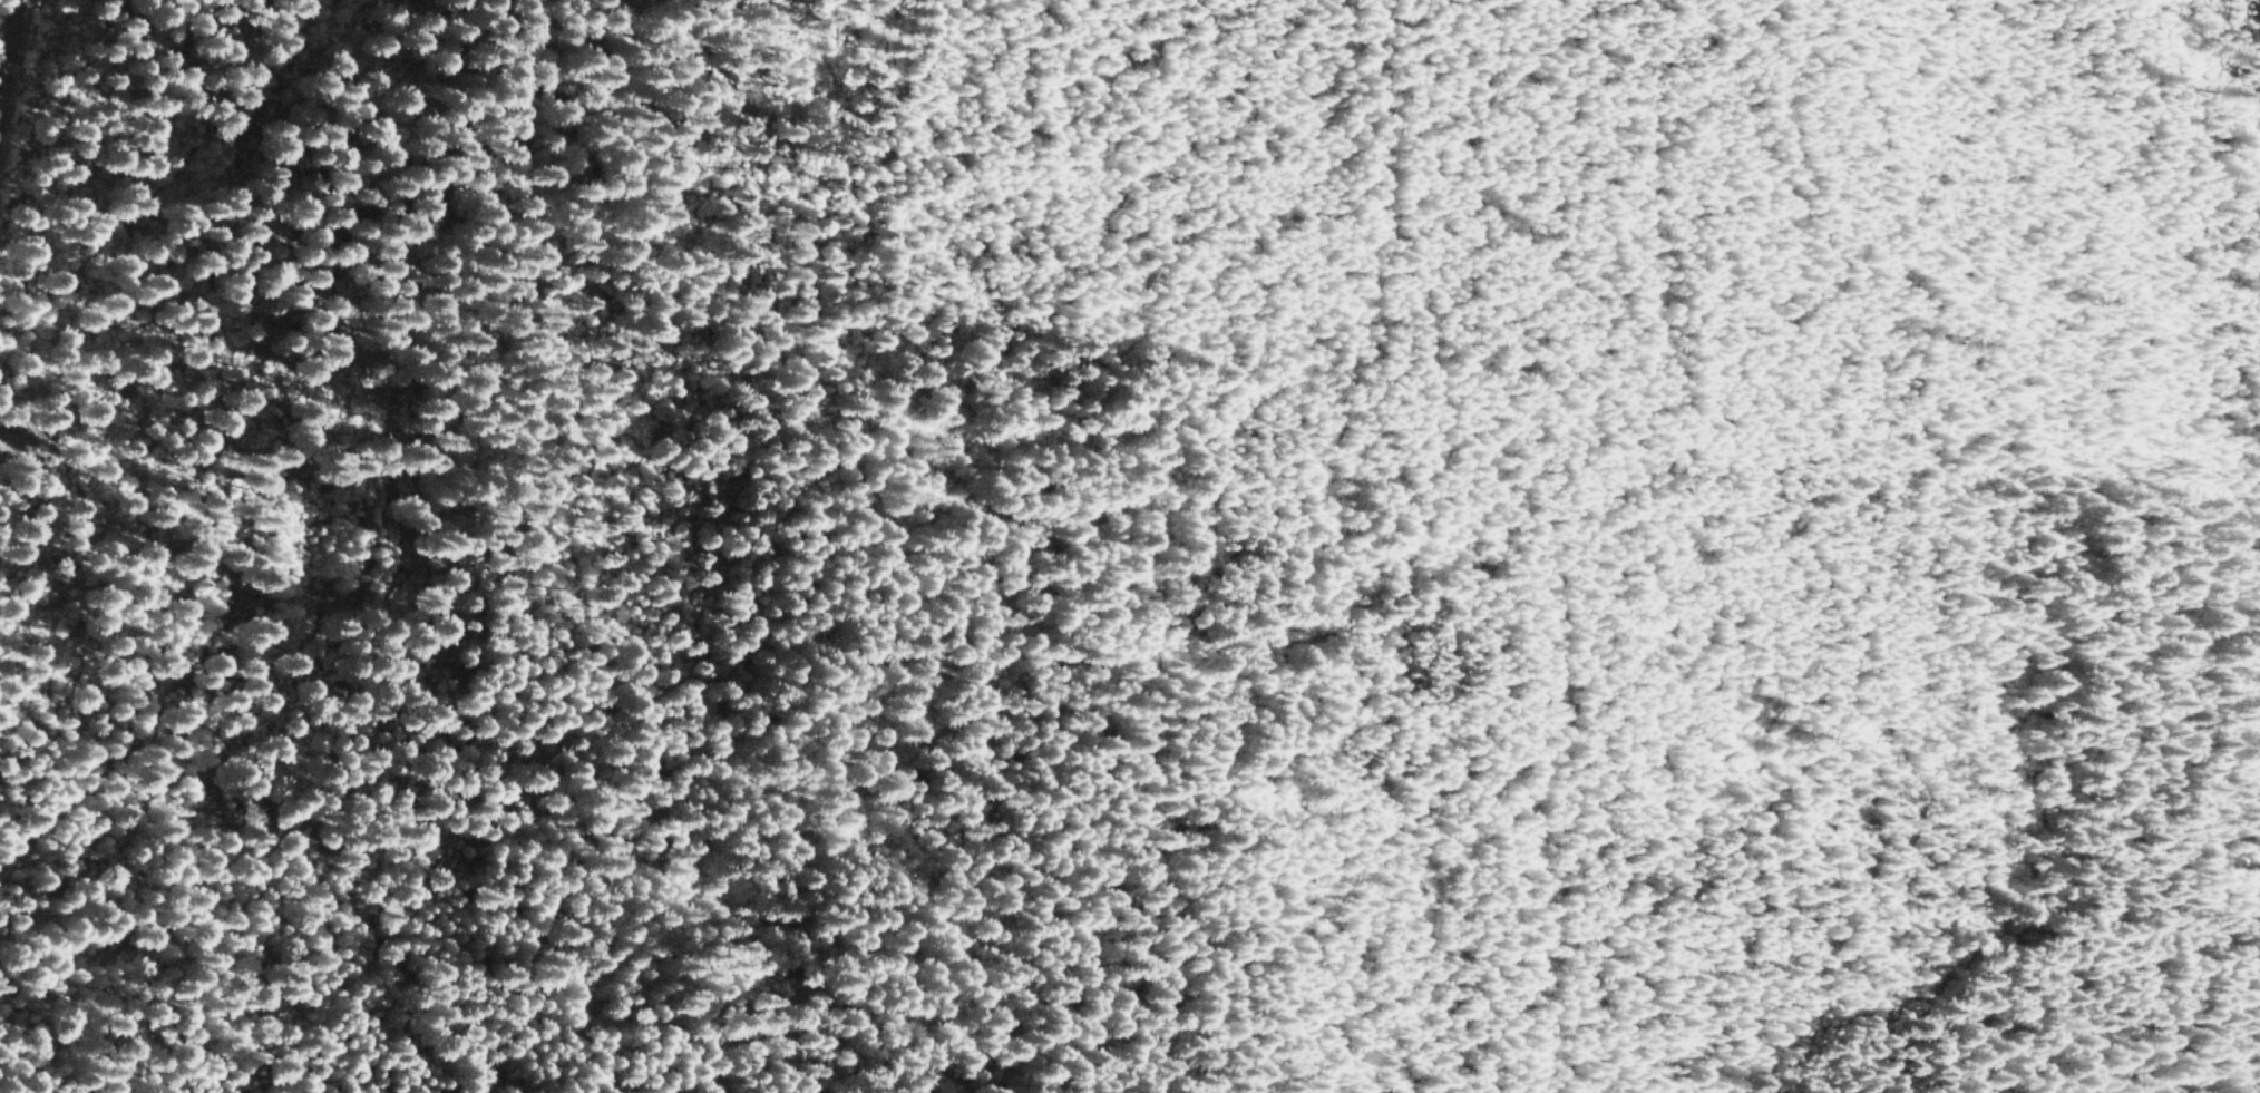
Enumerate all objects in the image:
road: (7, 36)

